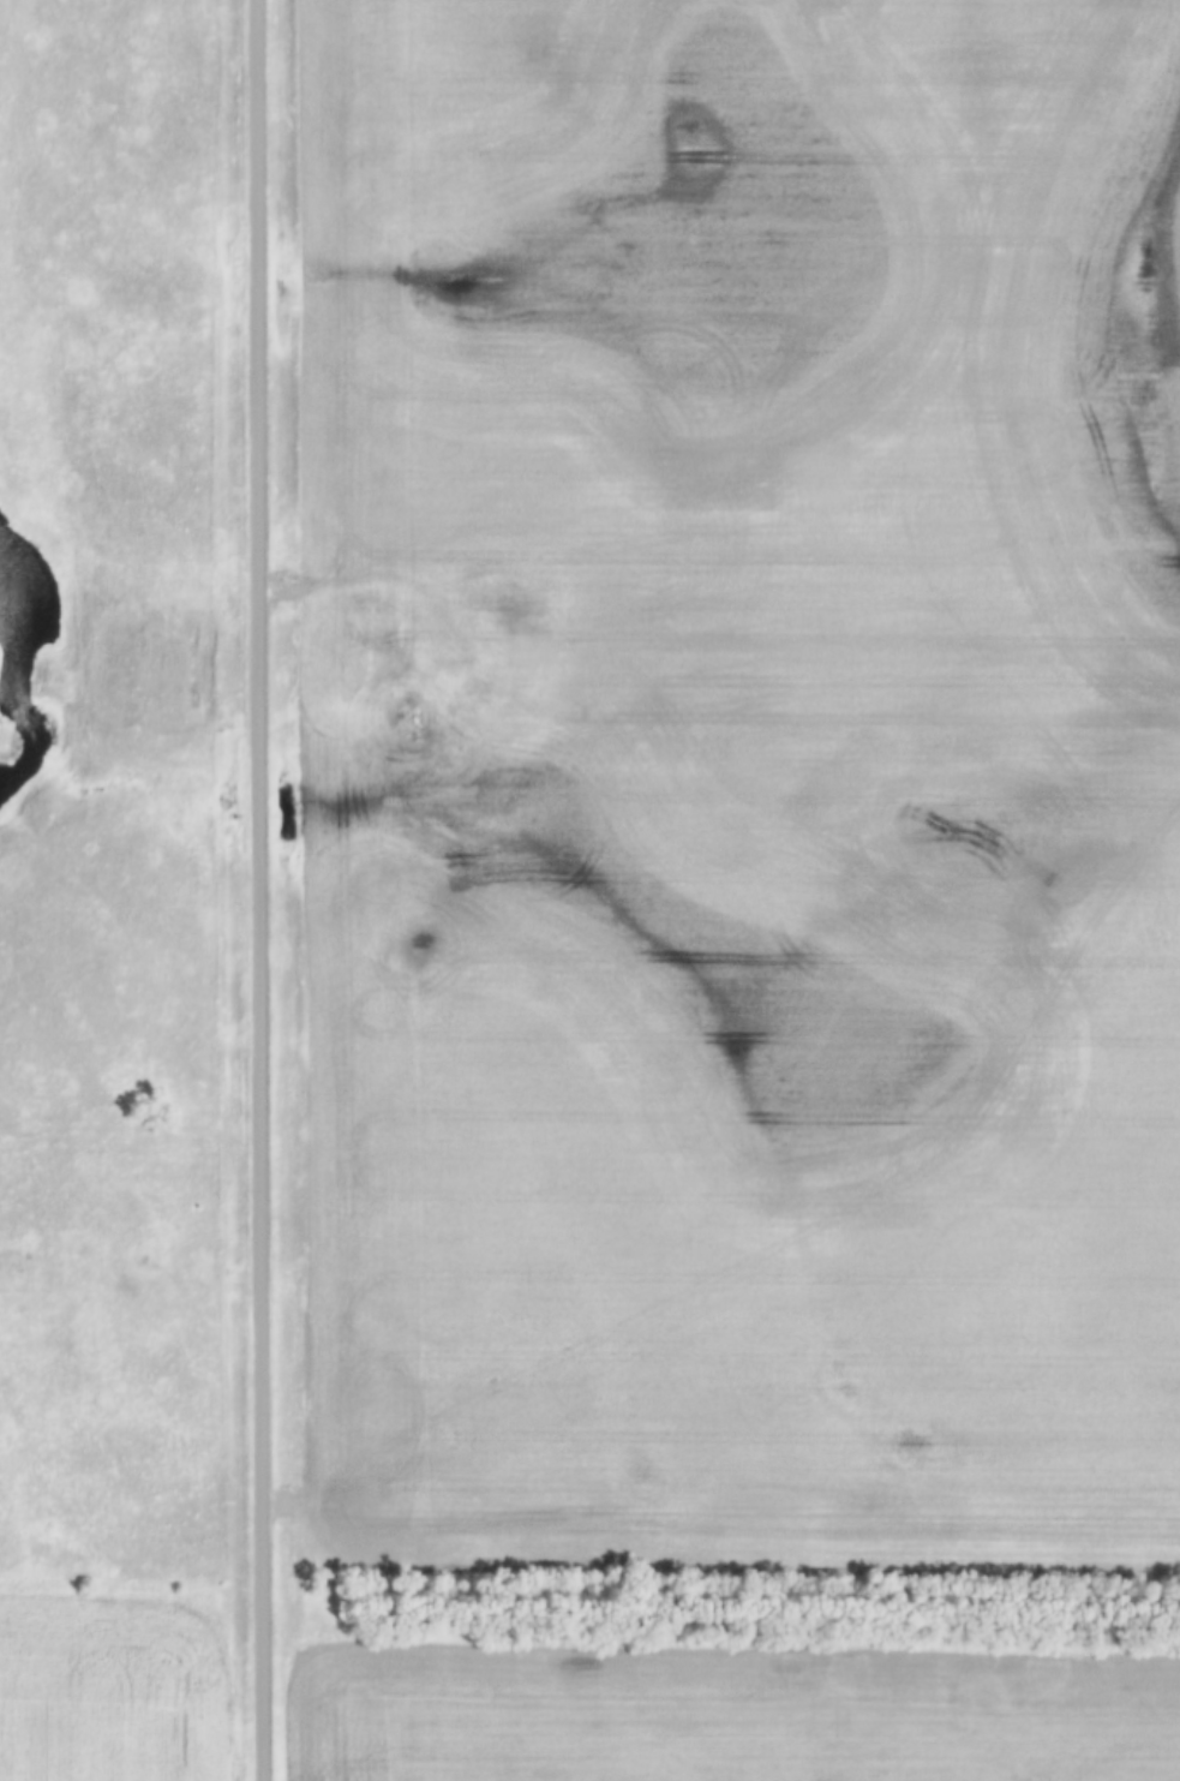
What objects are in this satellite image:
road: (257, 890)

